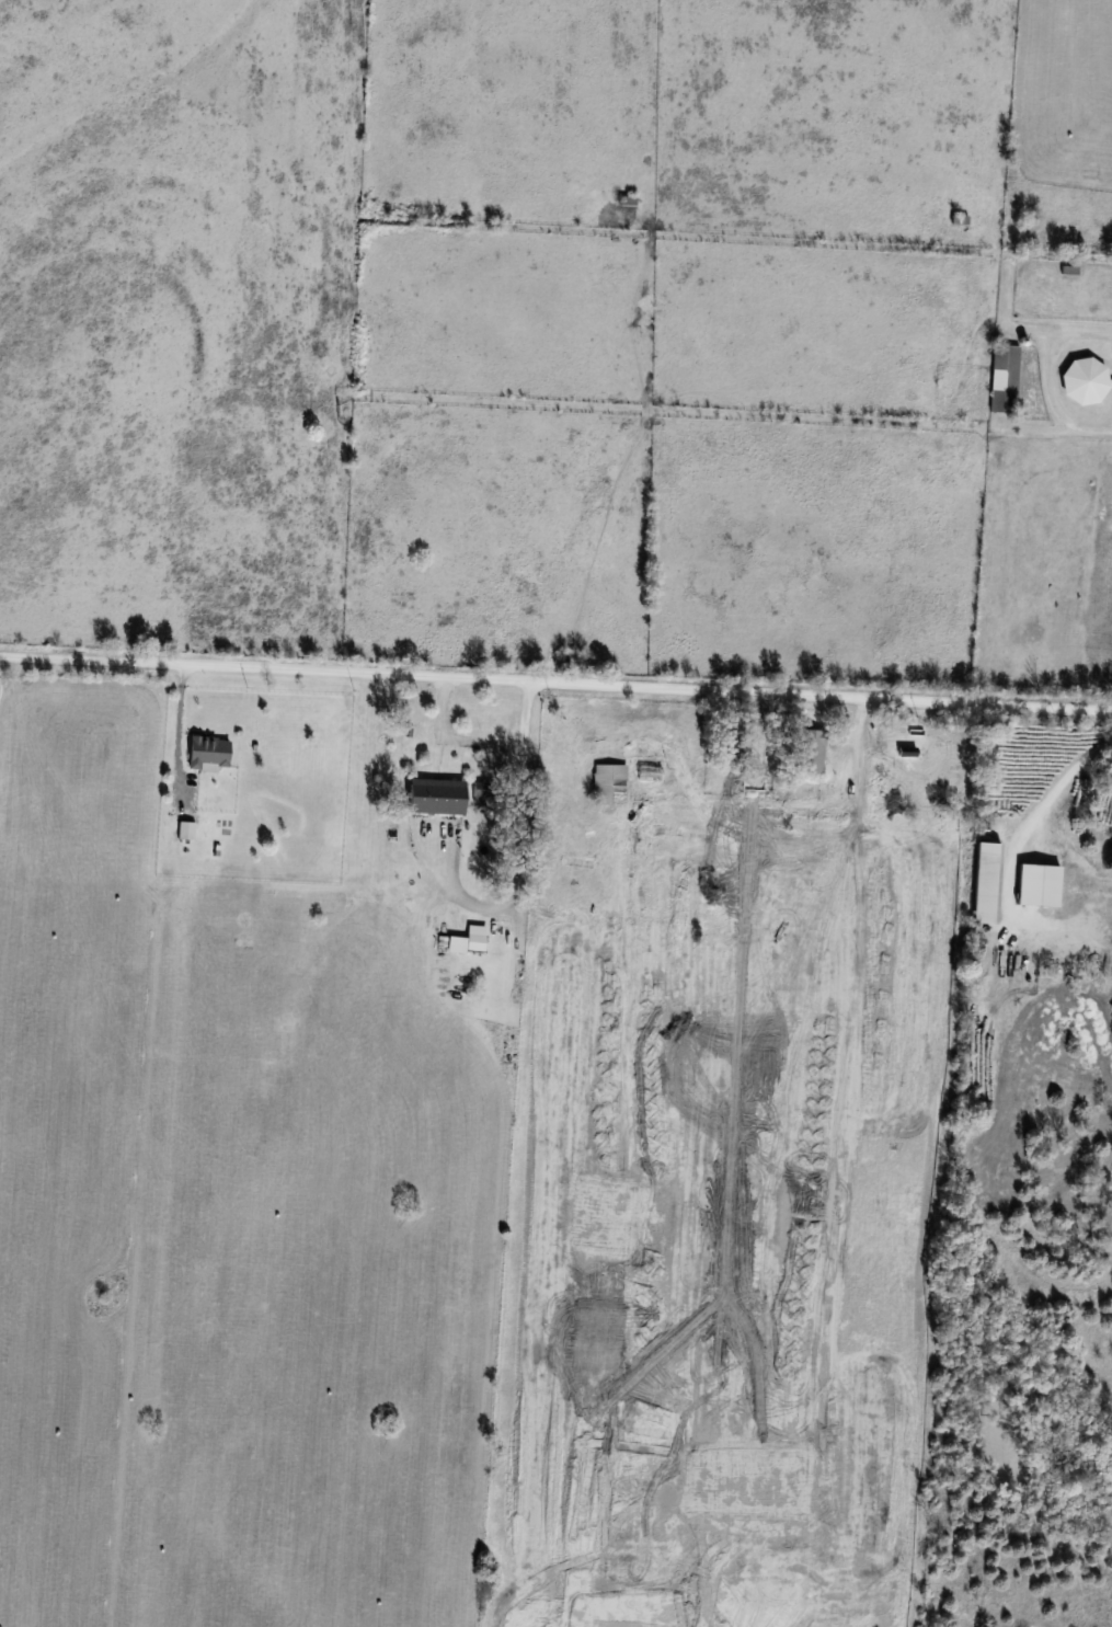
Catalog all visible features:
building: (626, 202)
building: (1004, 379)
road: (1045, 379)
building: (1085, 381)
building: (929, 447)
road: (555, 683)
road: (181, 732)
road: (486, 745)
building: (810, 752)
building: (208, 753)
building: (649, 774)
building: (607, 781)
road: (1059, 786)
building: (435, 795)
building: (1031, 882)
building: (982, 897)

